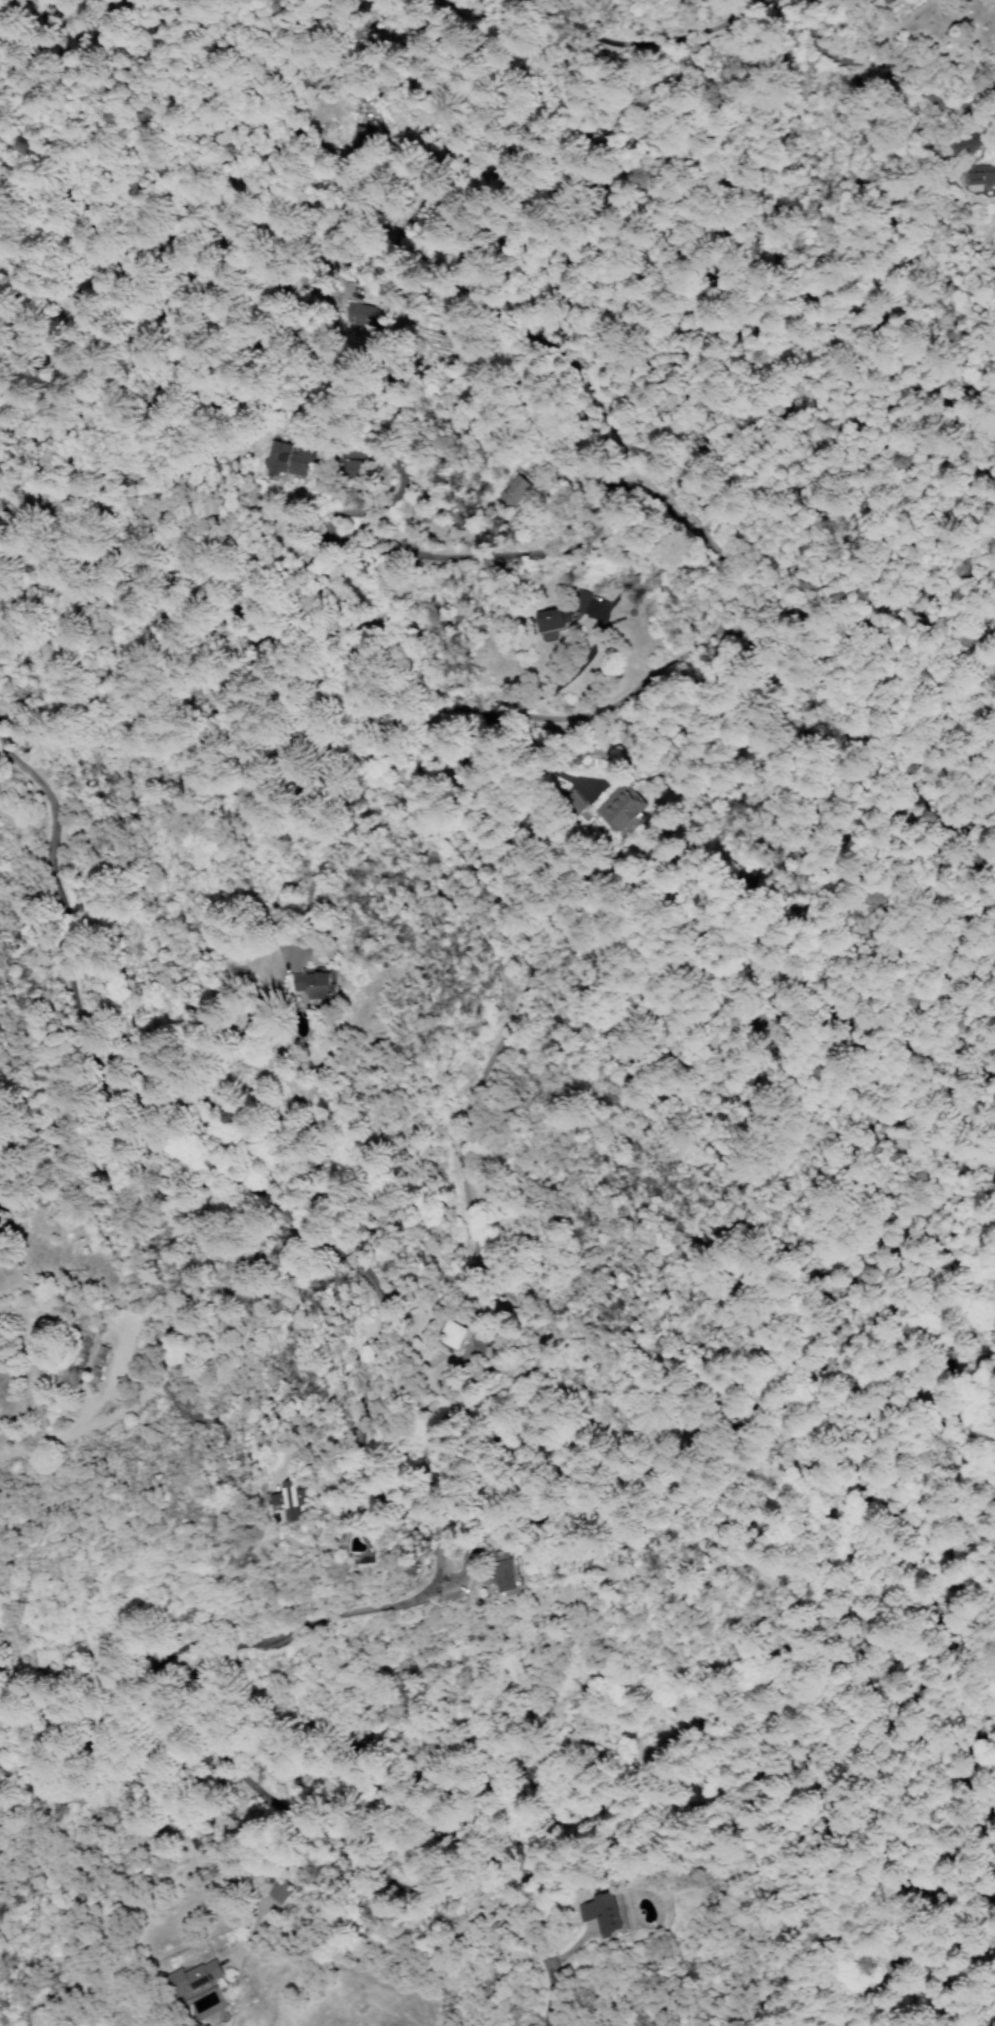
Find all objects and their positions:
building: (902, 0)
road: (754, 2)
road: (646, 44)
road: (882, 61)
building: (977, 184)
road: (357, 299)
building: (278, 458)
building: (509, 490)
building: (551, 618)
road: (419, 703)
road: (725, 707)
building: (610, 809)
building: (314, 983)
road: (327, 1111)
crop: (952, 1150)
building: (449, 1333)
road: (41, 1421)
building: (286, 1498)
road: (986, 1512)
building: (501, 1572)
road: (695, 1747)
road: (224, 1770)
building: (605, 1914)
building: (194, 1976)

